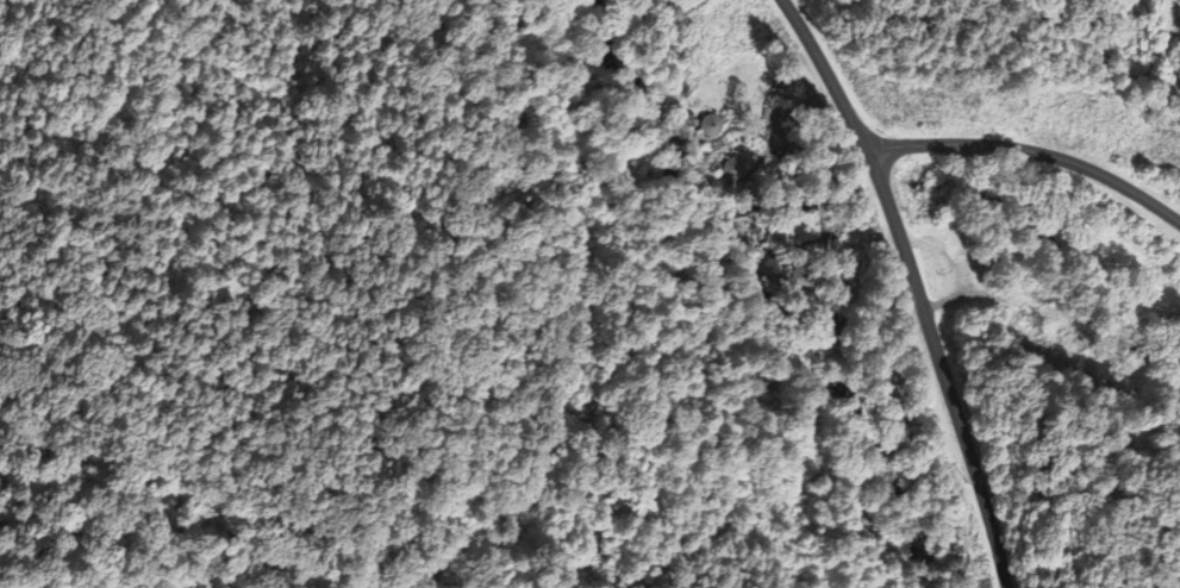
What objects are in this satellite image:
building: (711, 129)
road: (1031, 149)
road: (916, 284)

